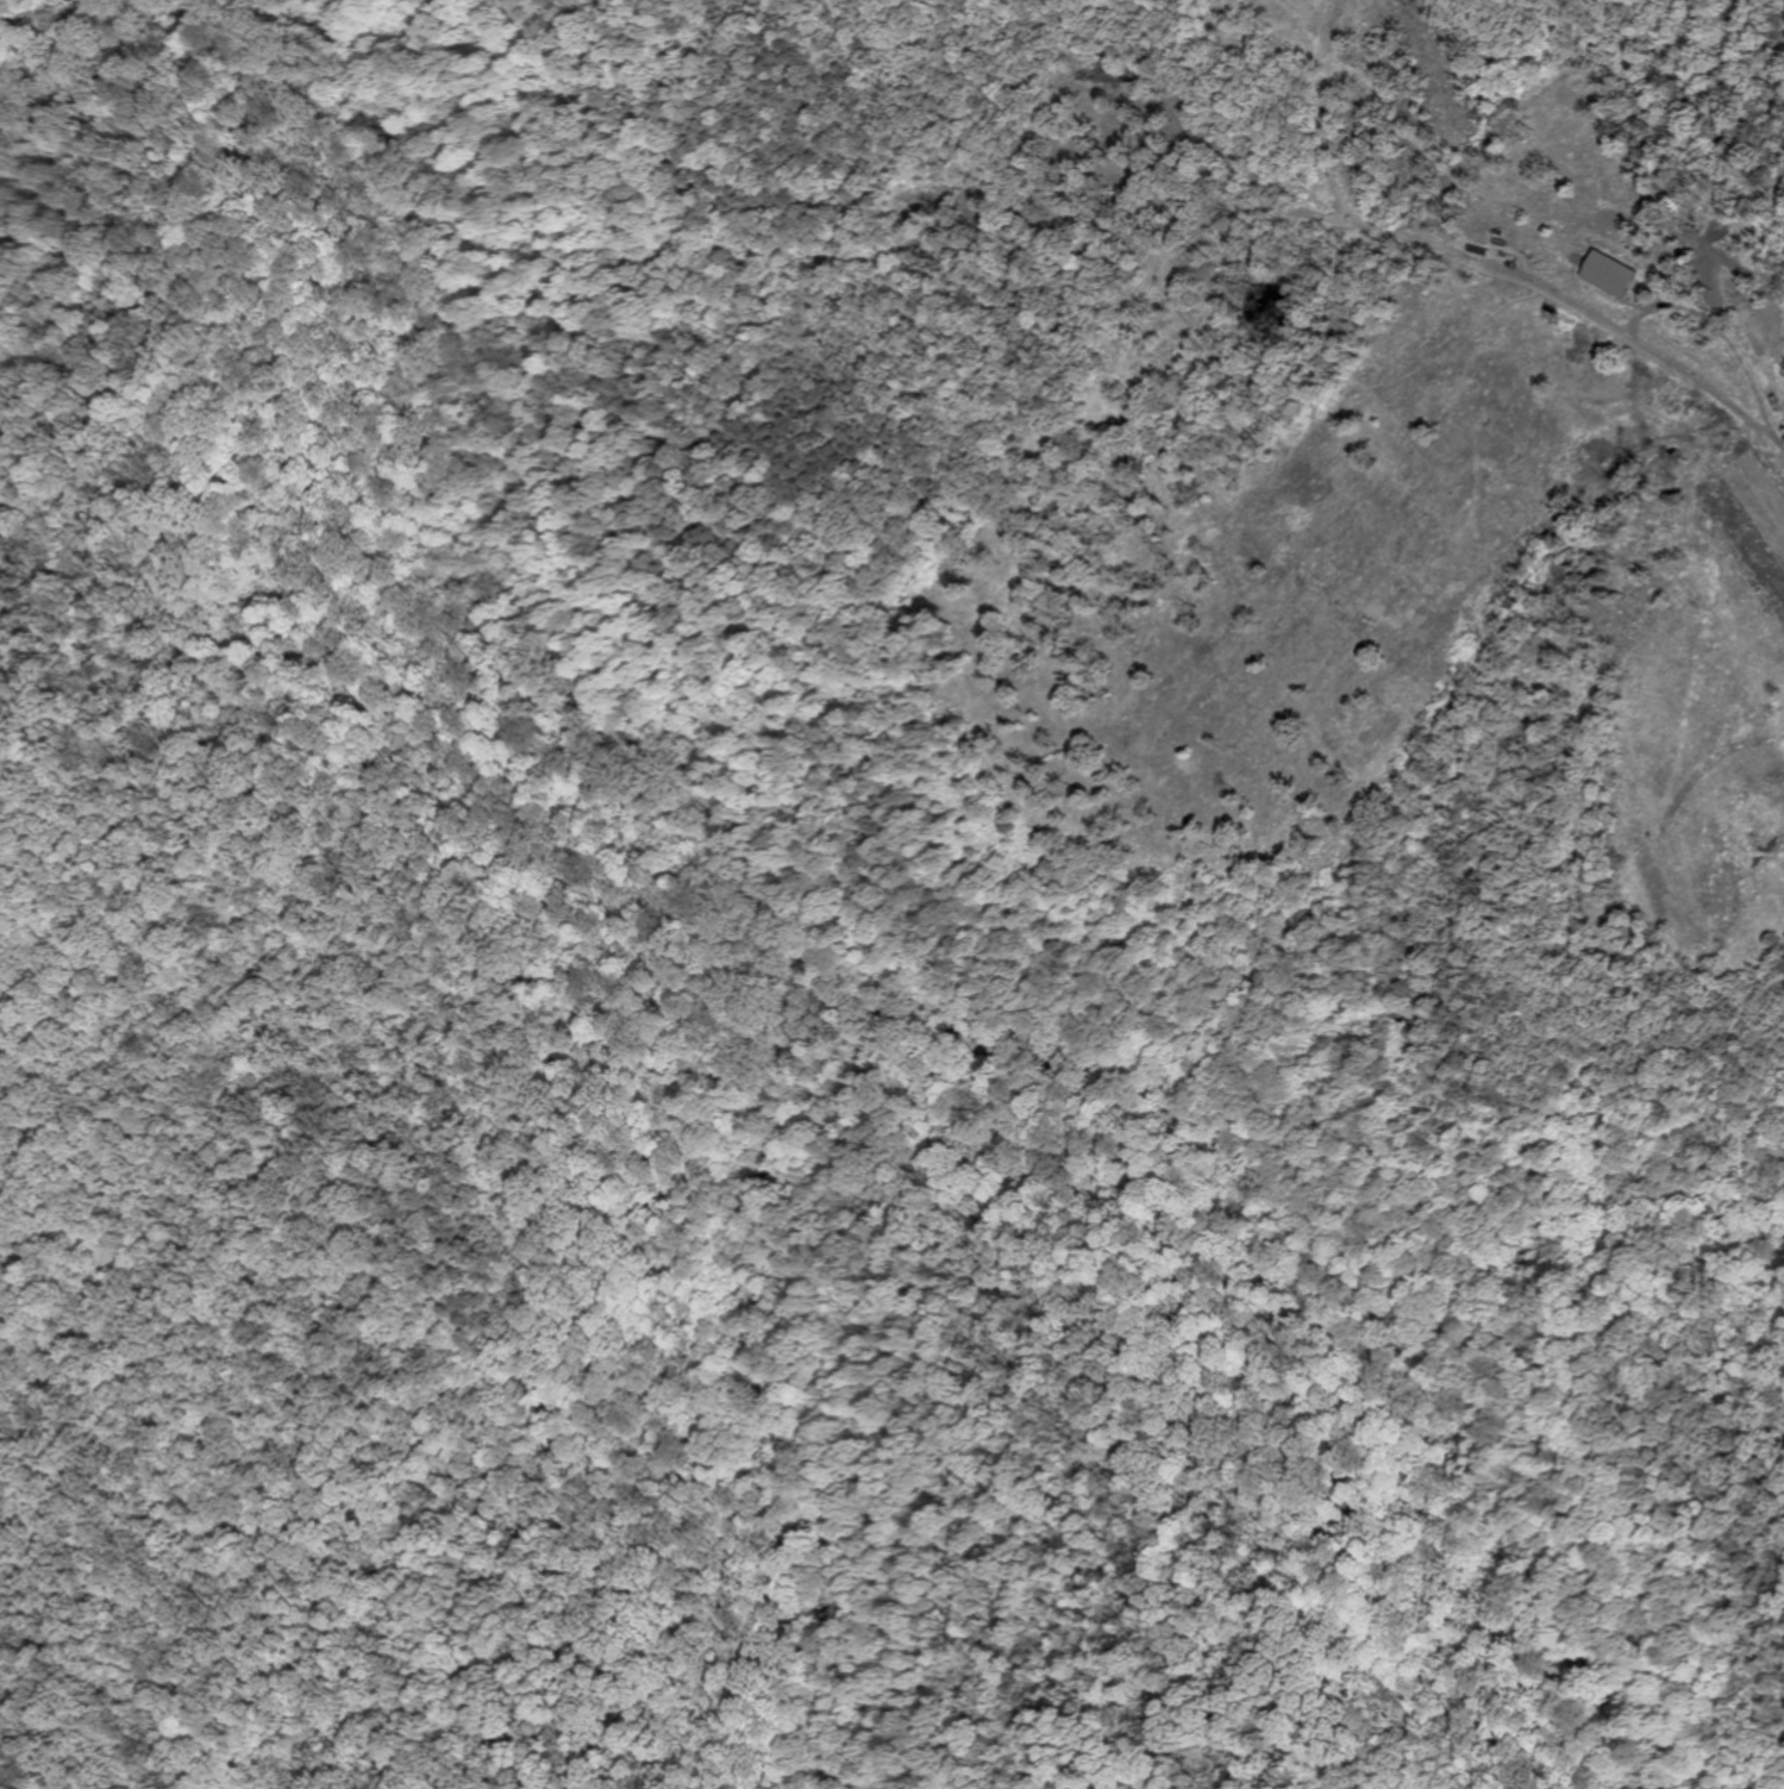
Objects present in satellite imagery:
road: (831, 198)
road: (1214, 208)
road: (1397, 231)
building: (1607, 271)
road: (1645, 309)

